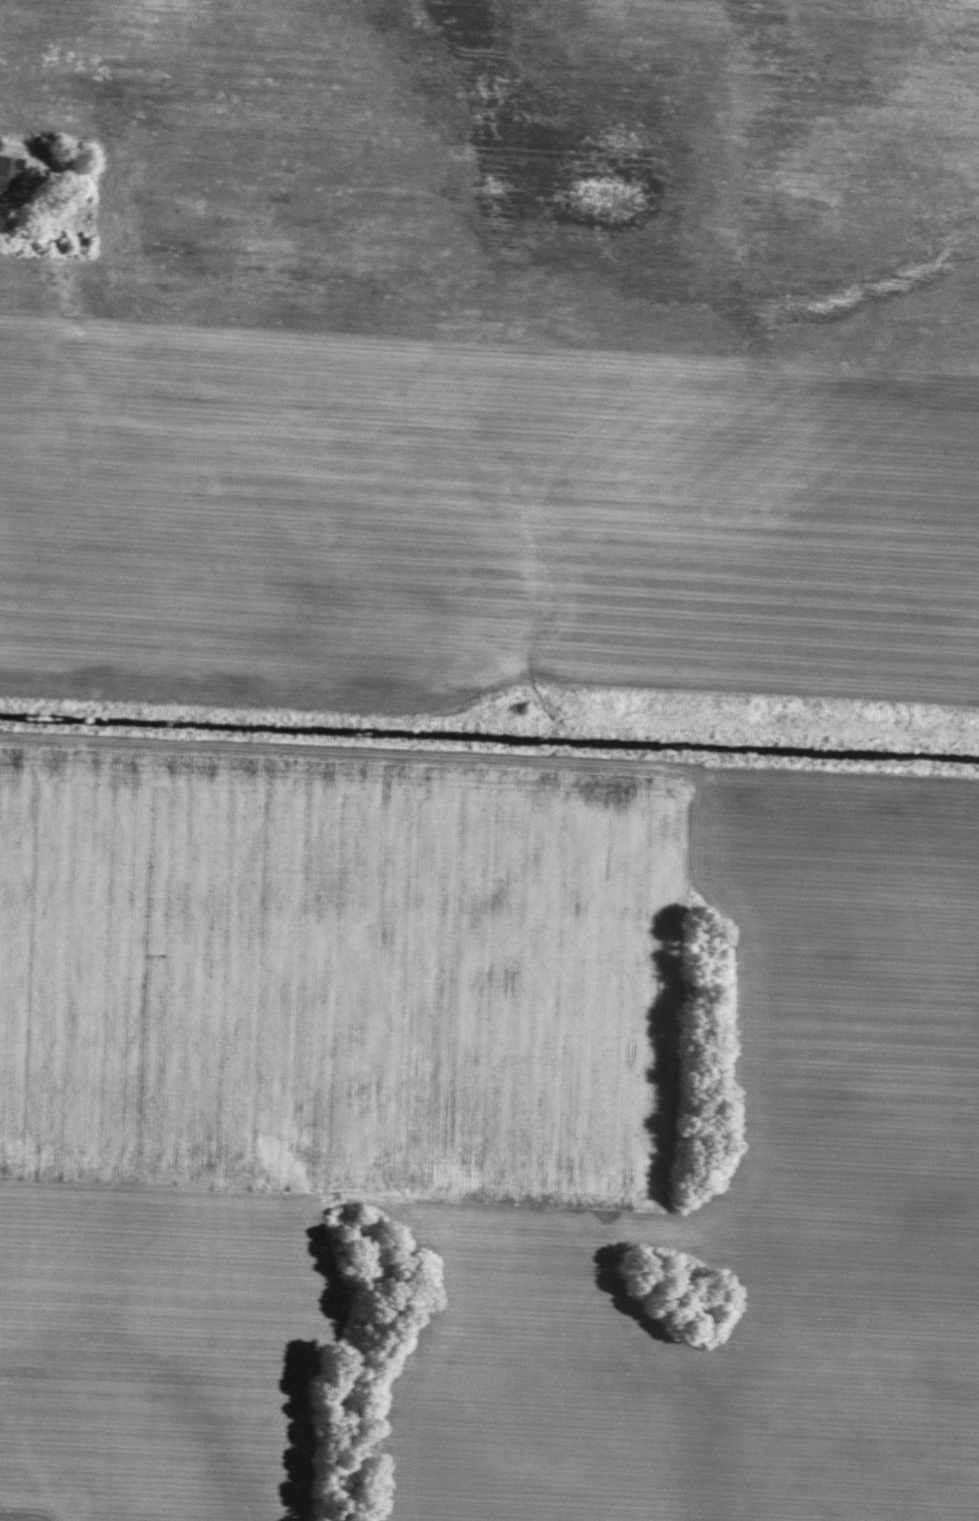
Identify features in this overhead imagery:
building: (6, 171)
road: (6, 201)
road: (489, 757)

